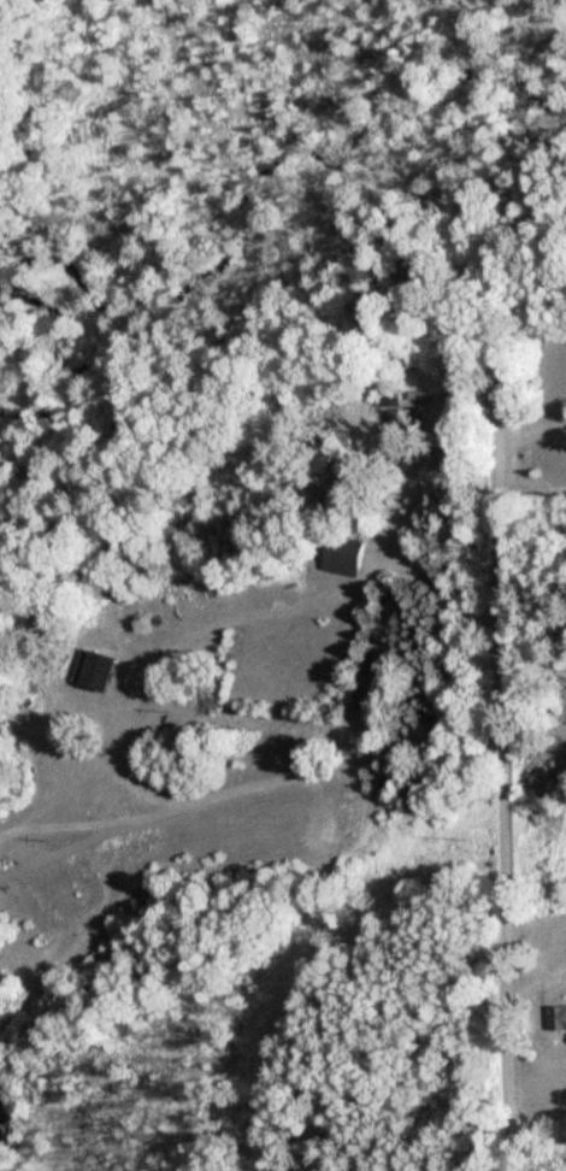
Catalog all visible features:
building: (396, 420)
building: (343, 555)
road: (499, 584)
building: (95, 670)
building: (558, 1018)

